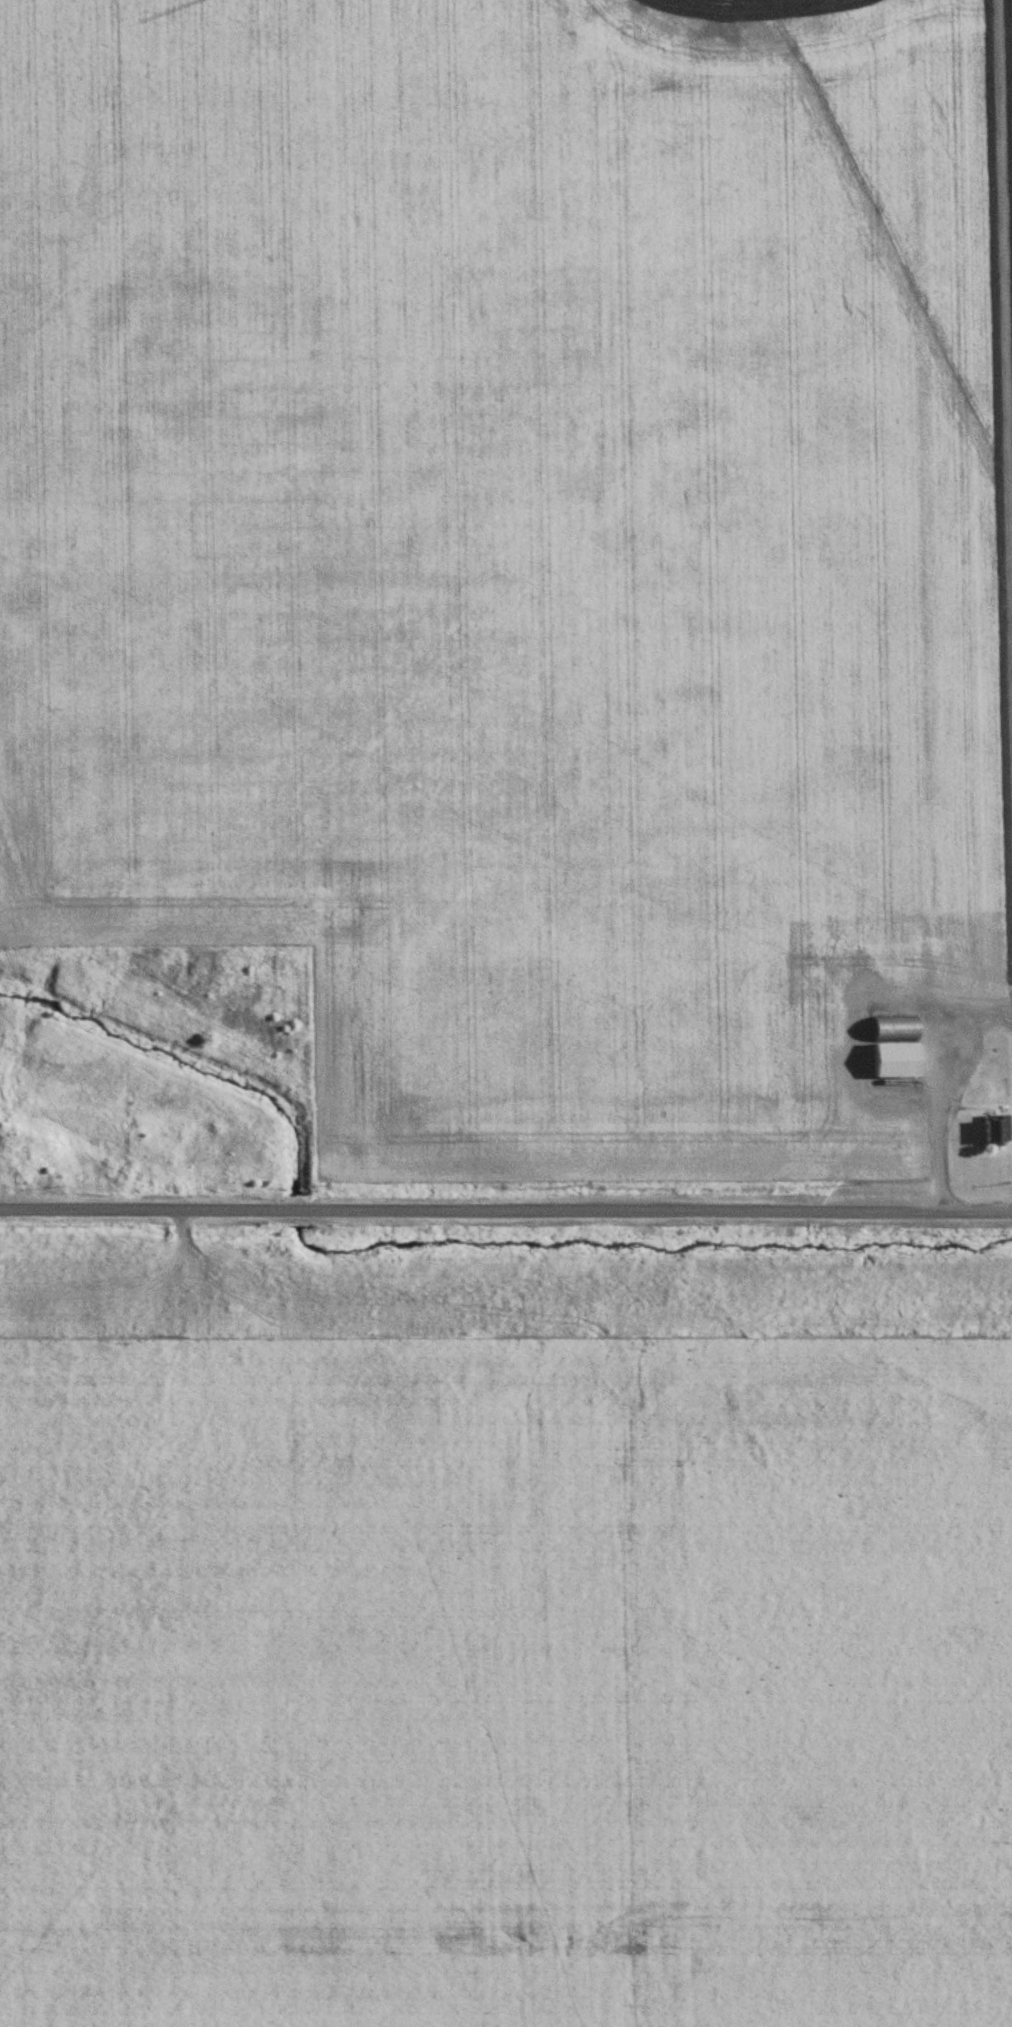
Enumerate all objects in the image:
building: (889, 1047)
building: (990, 1130)
road: (505, 1210)

